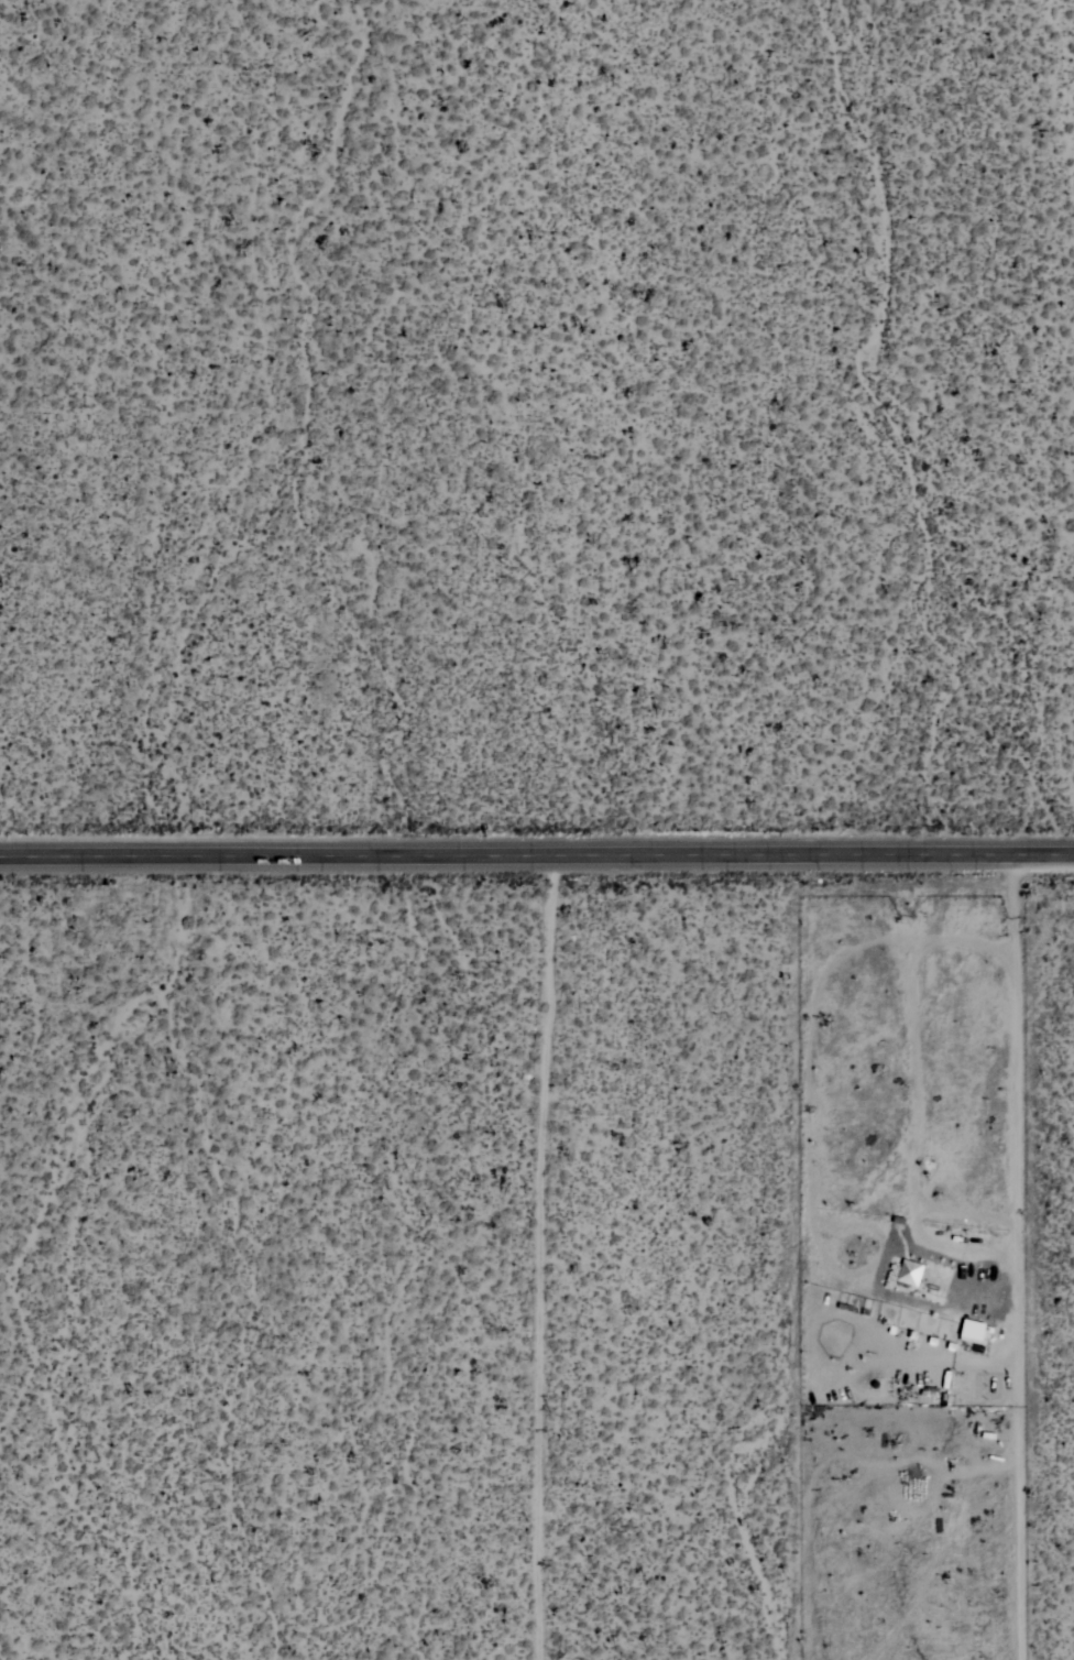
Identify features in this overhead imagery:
road: (537, 853)

